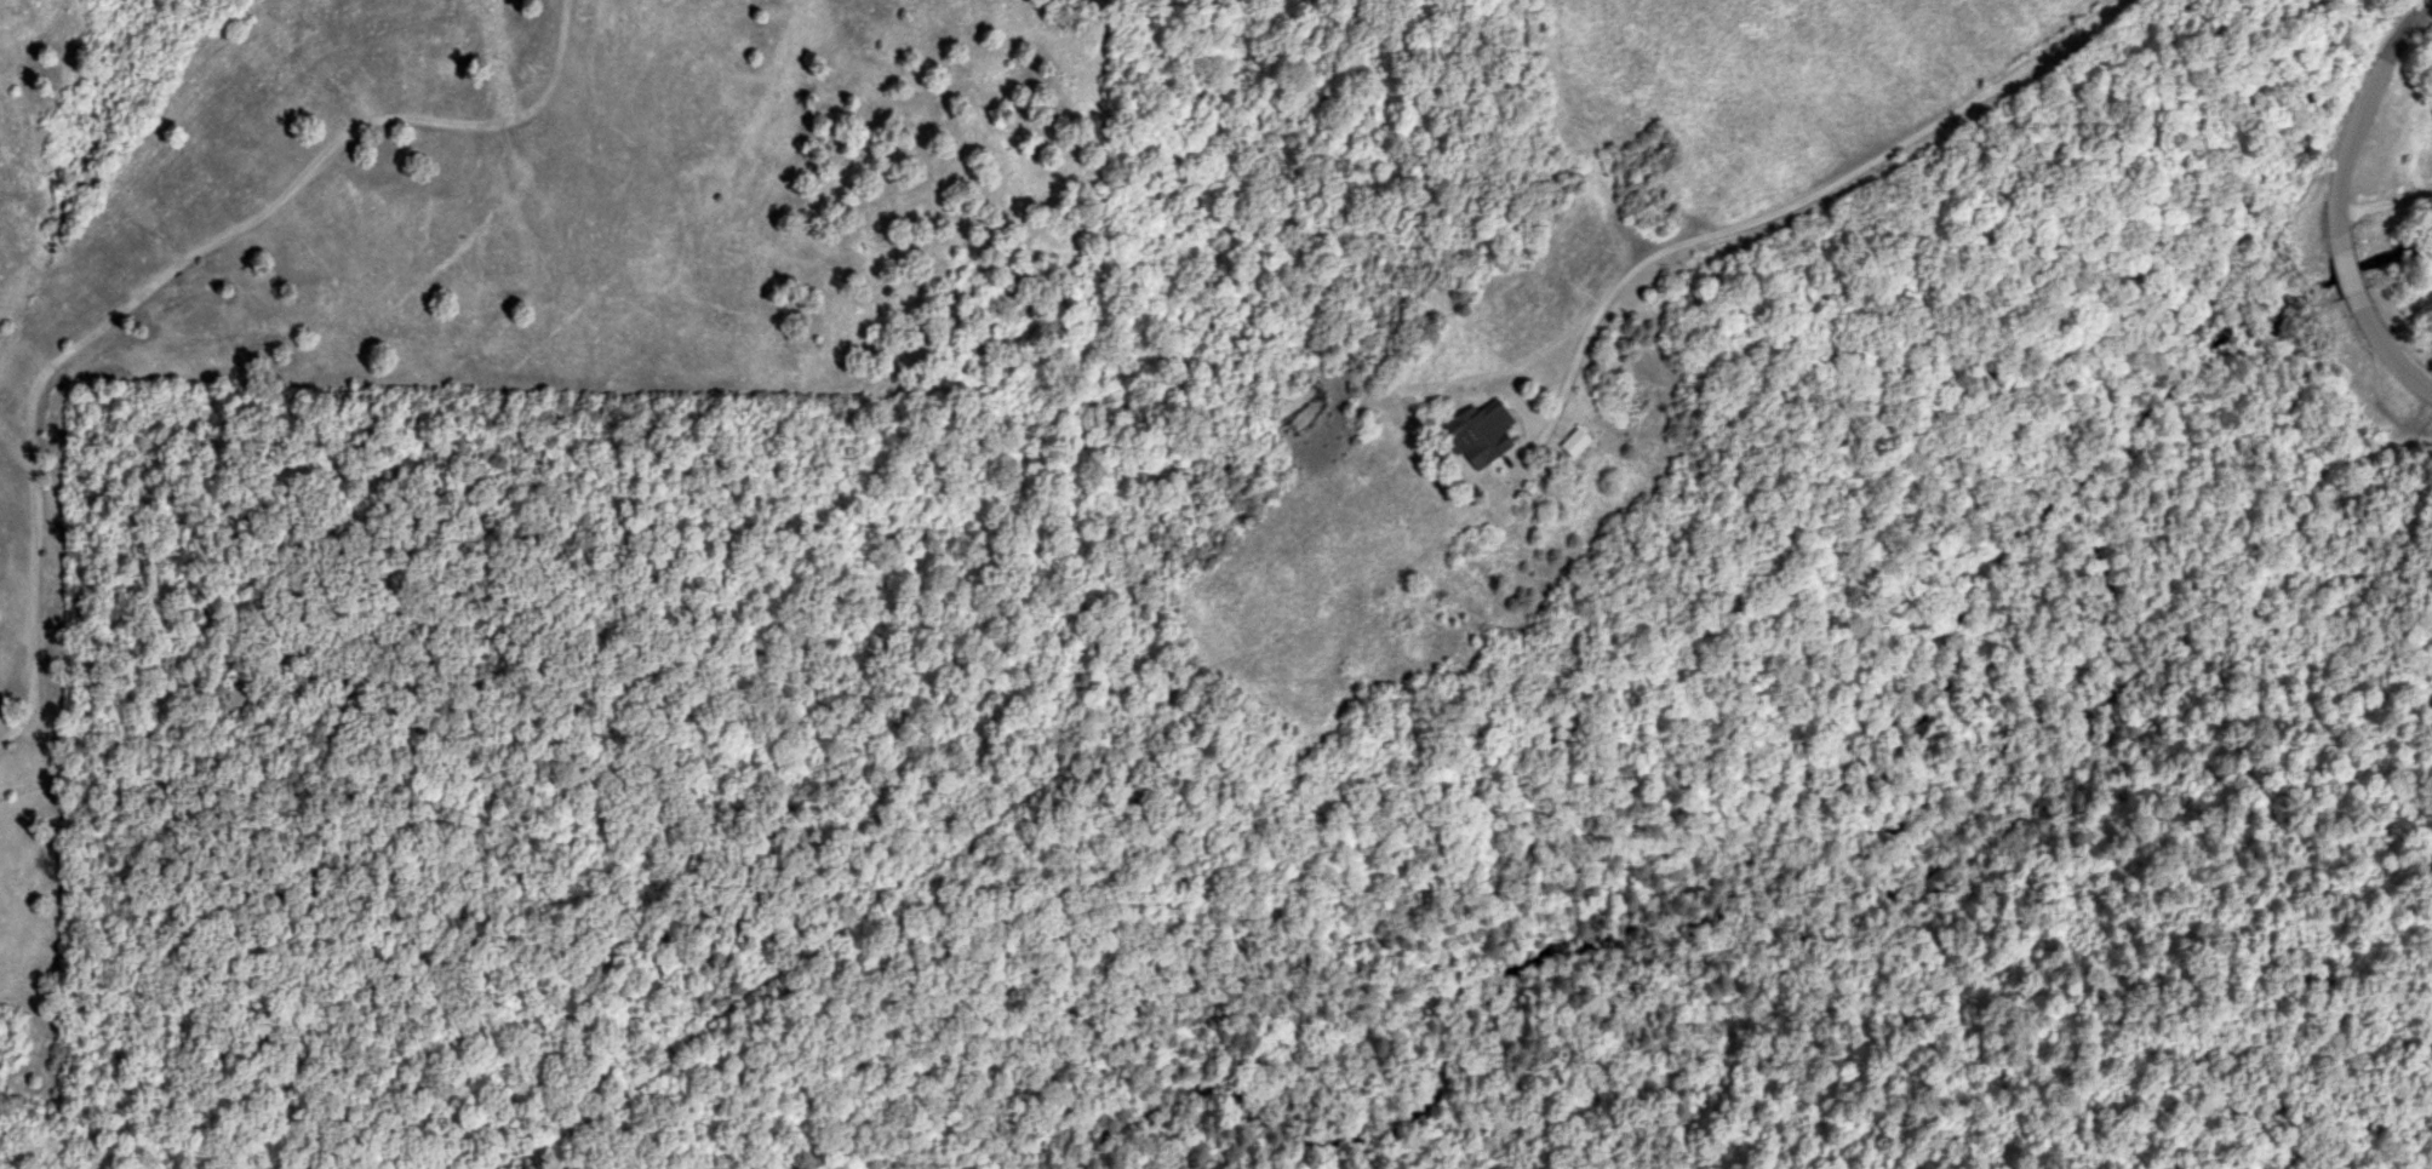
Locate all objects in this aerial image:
road: (2362, 109)
road: (1806, 199)
road: (2345, 273)
road: (168, 275)
road: (2390, 355)
building: (1478, 432)
building: (1572, 442)

